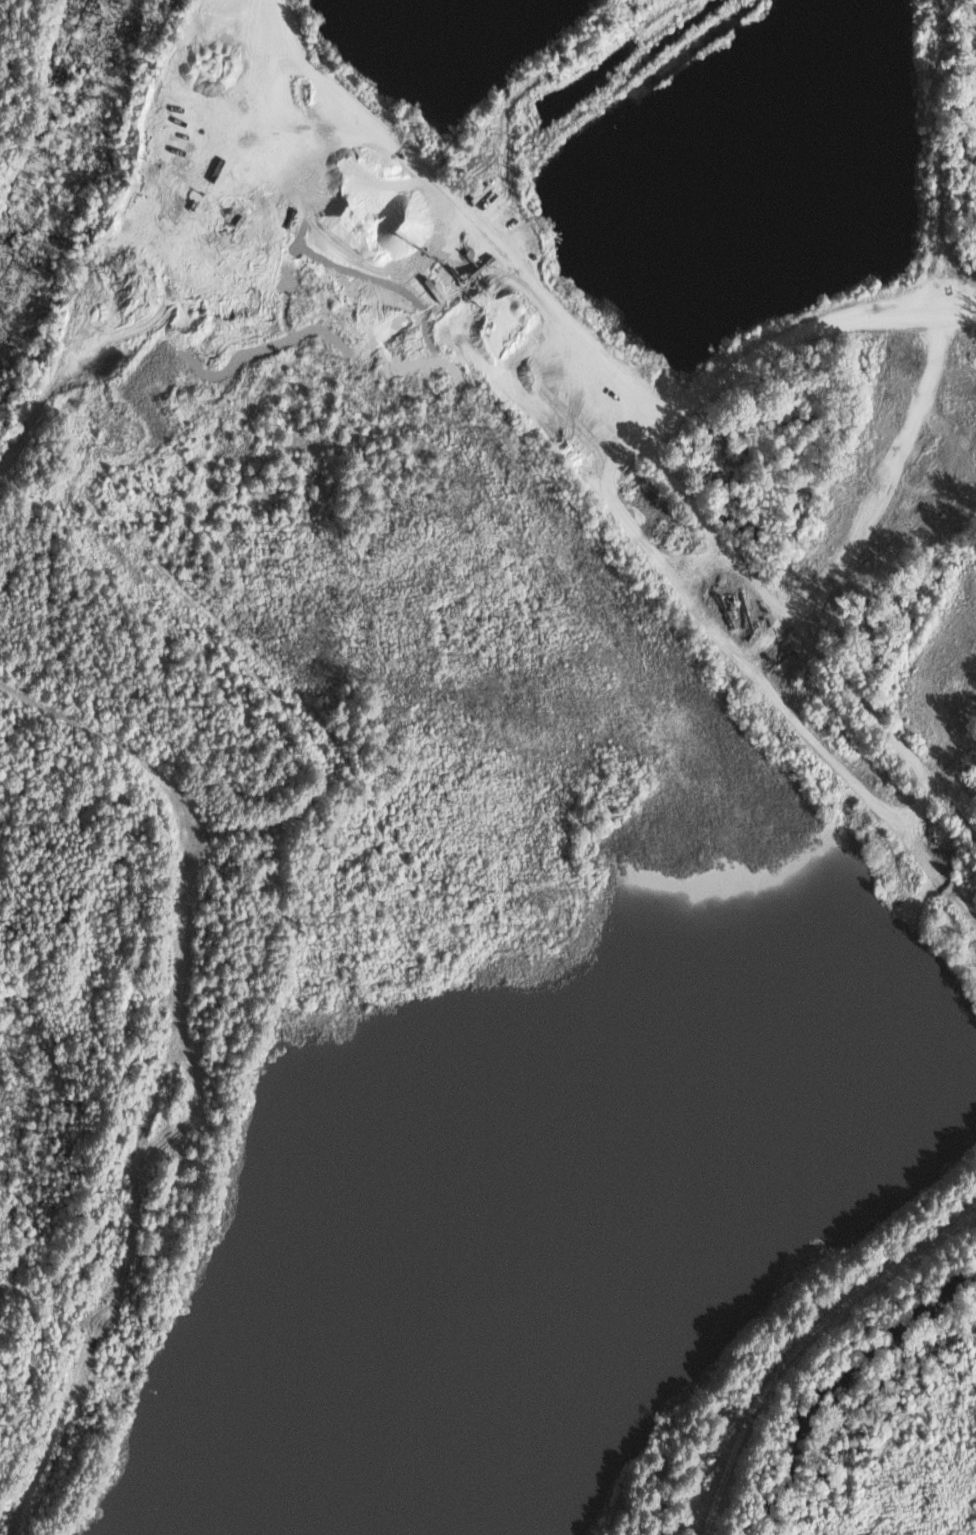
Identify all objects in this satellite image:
road: (604, 59)

